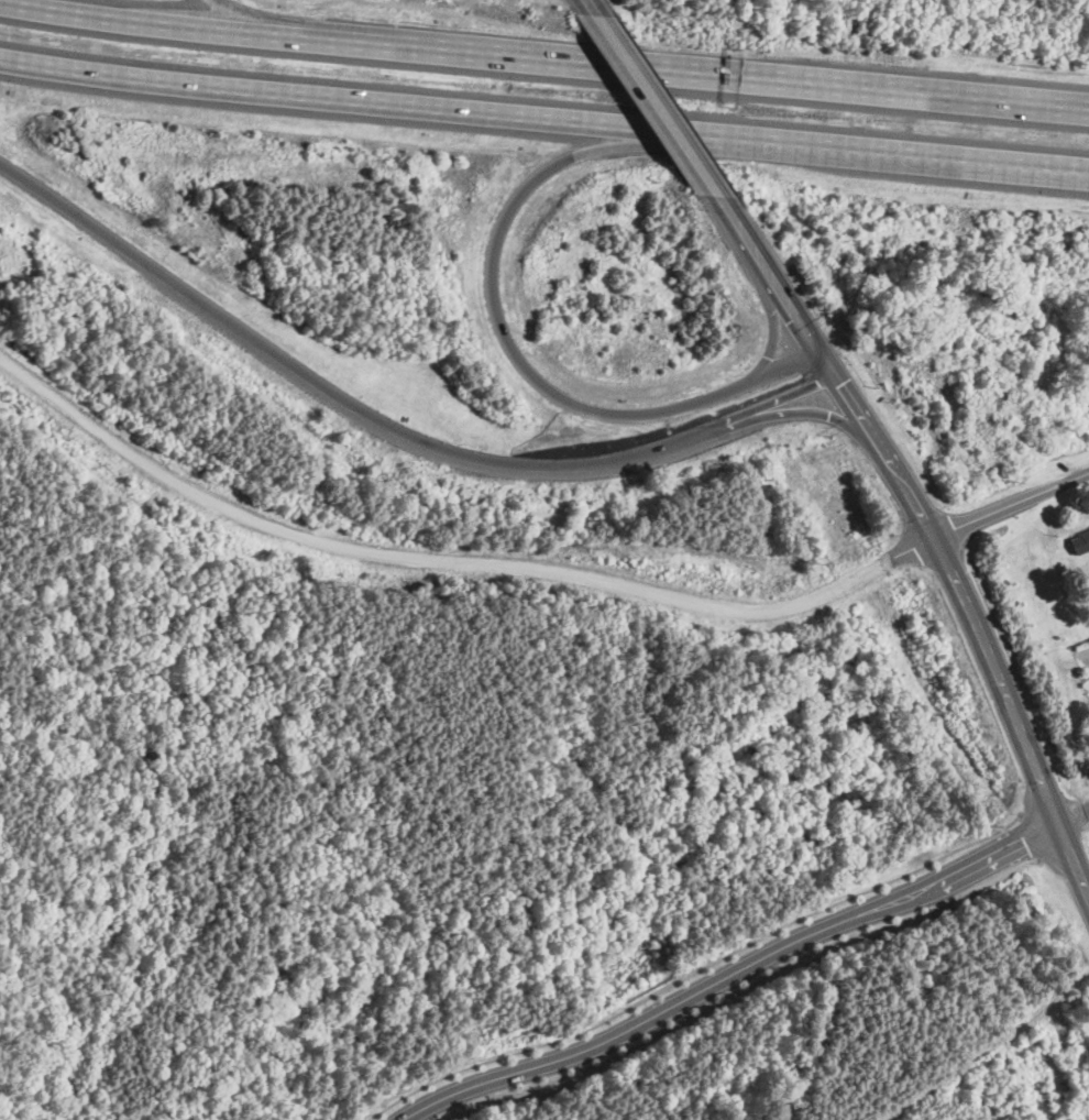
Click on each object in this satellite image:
road: (593, 8)
road: (316, 26)
road: (543, 58)
road: (657, 105)
road: (543, 122)
traffic signals: (818, 353)
road: (517, 354)
traffic signals: (834, 376)
road: (386, 425)
road: (1010, 504)
road: (926, 530)
building: (1080, 541)
road: (450, 560)
road: (1071, 814)
road: (1027, 834)
road: (695, 969)
road: (726, 975)
road: (738, 990)

